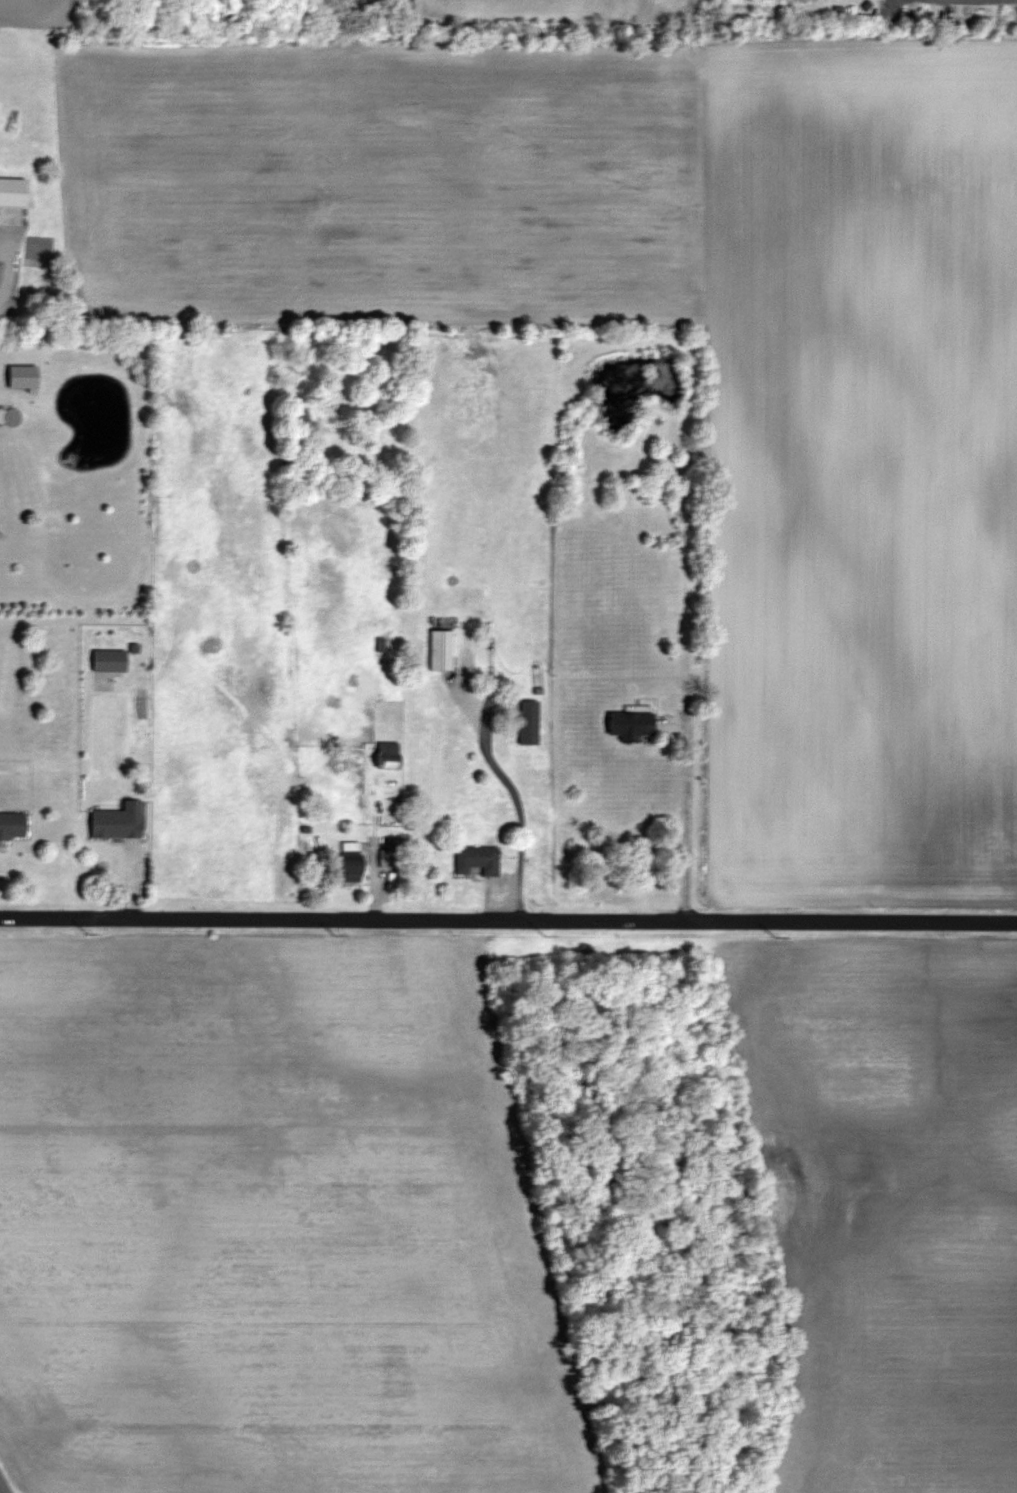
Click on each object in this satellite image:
road: (970, 0)
building: (21, 378)
building: (440, 649)
building: (108, 660)
building: (528, 722)
building: (630, 725)
building: (387, 755)
road: (519, 819)
road: (686, 819)
building: (117, 821)
building: (12, 825)
building: (388, 858)
building: (475, 860)
building: (350, 861)
road: (508, 919)
road: (3, 1486)

